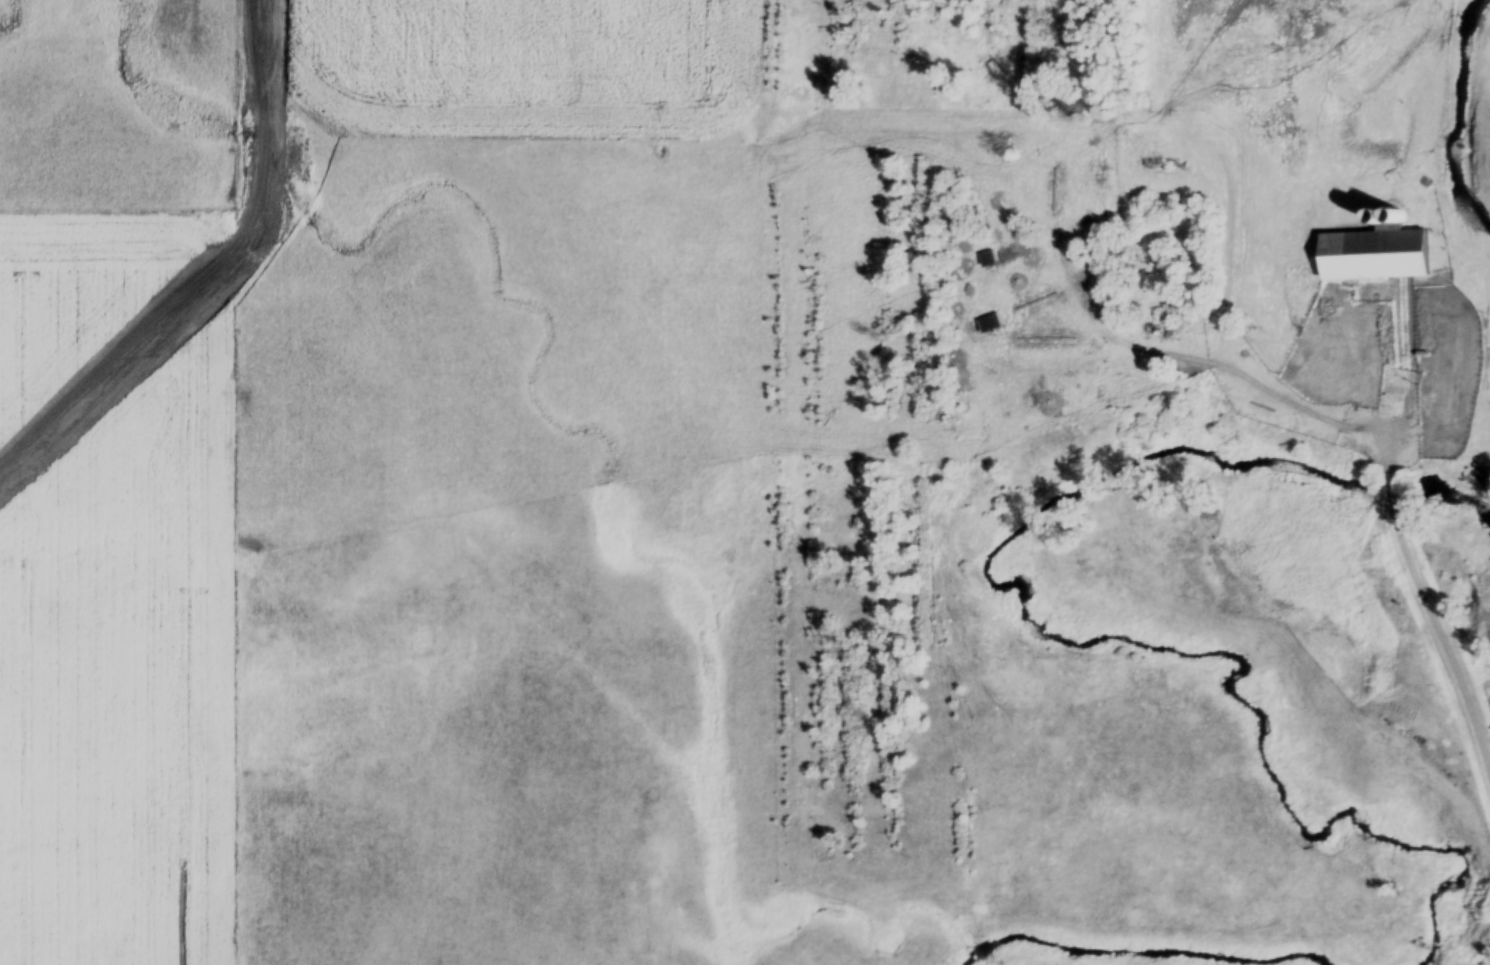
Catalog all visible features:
building: (1374, 255)
road: (1391, 479)

